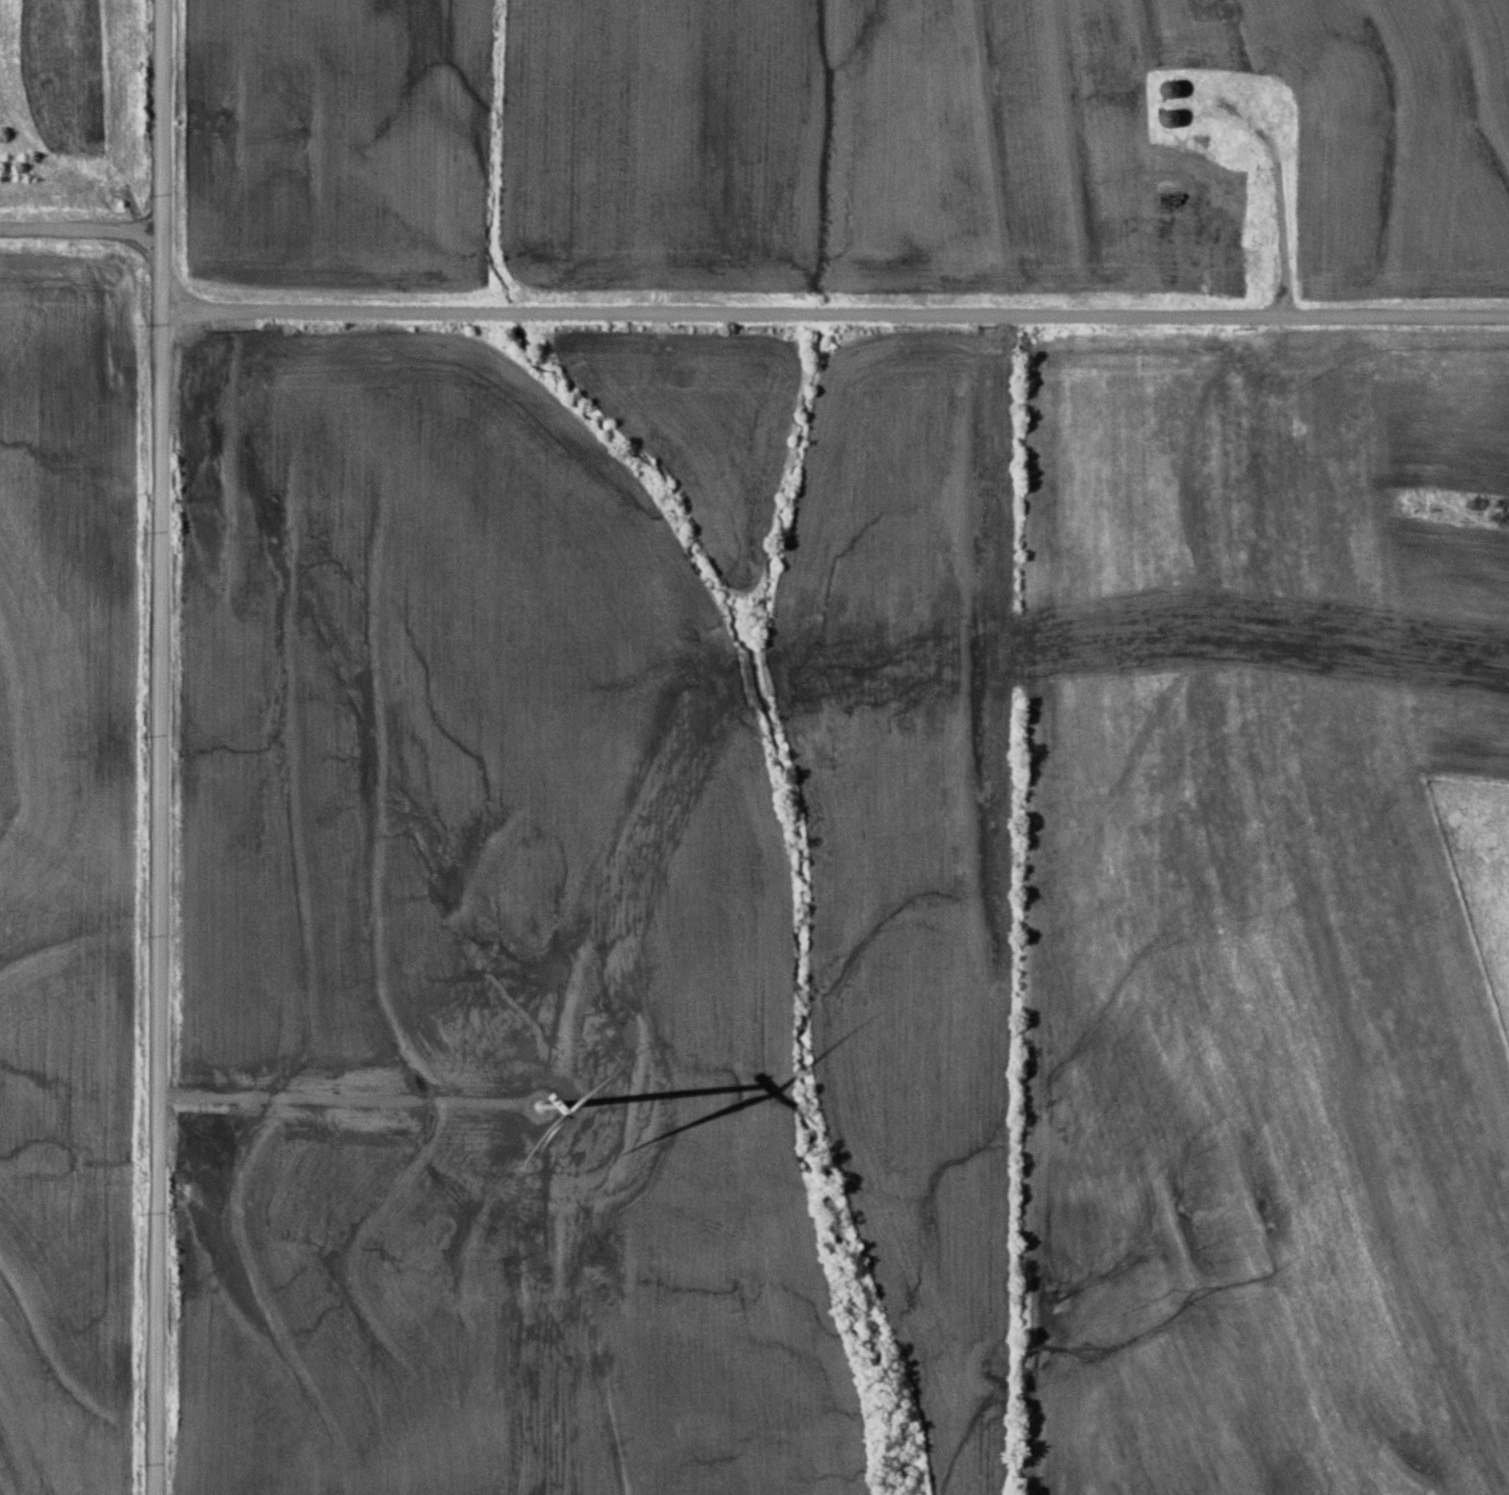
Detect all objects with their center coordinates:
building: (1163, 89)
building: (1163, 117)
building: (1198, 140)
road: (80, 230)
building: (1205, 231)
road: (830, 311)
road: (183, 320)
road: (158, 747)
wind turbine: (548, 1106)

